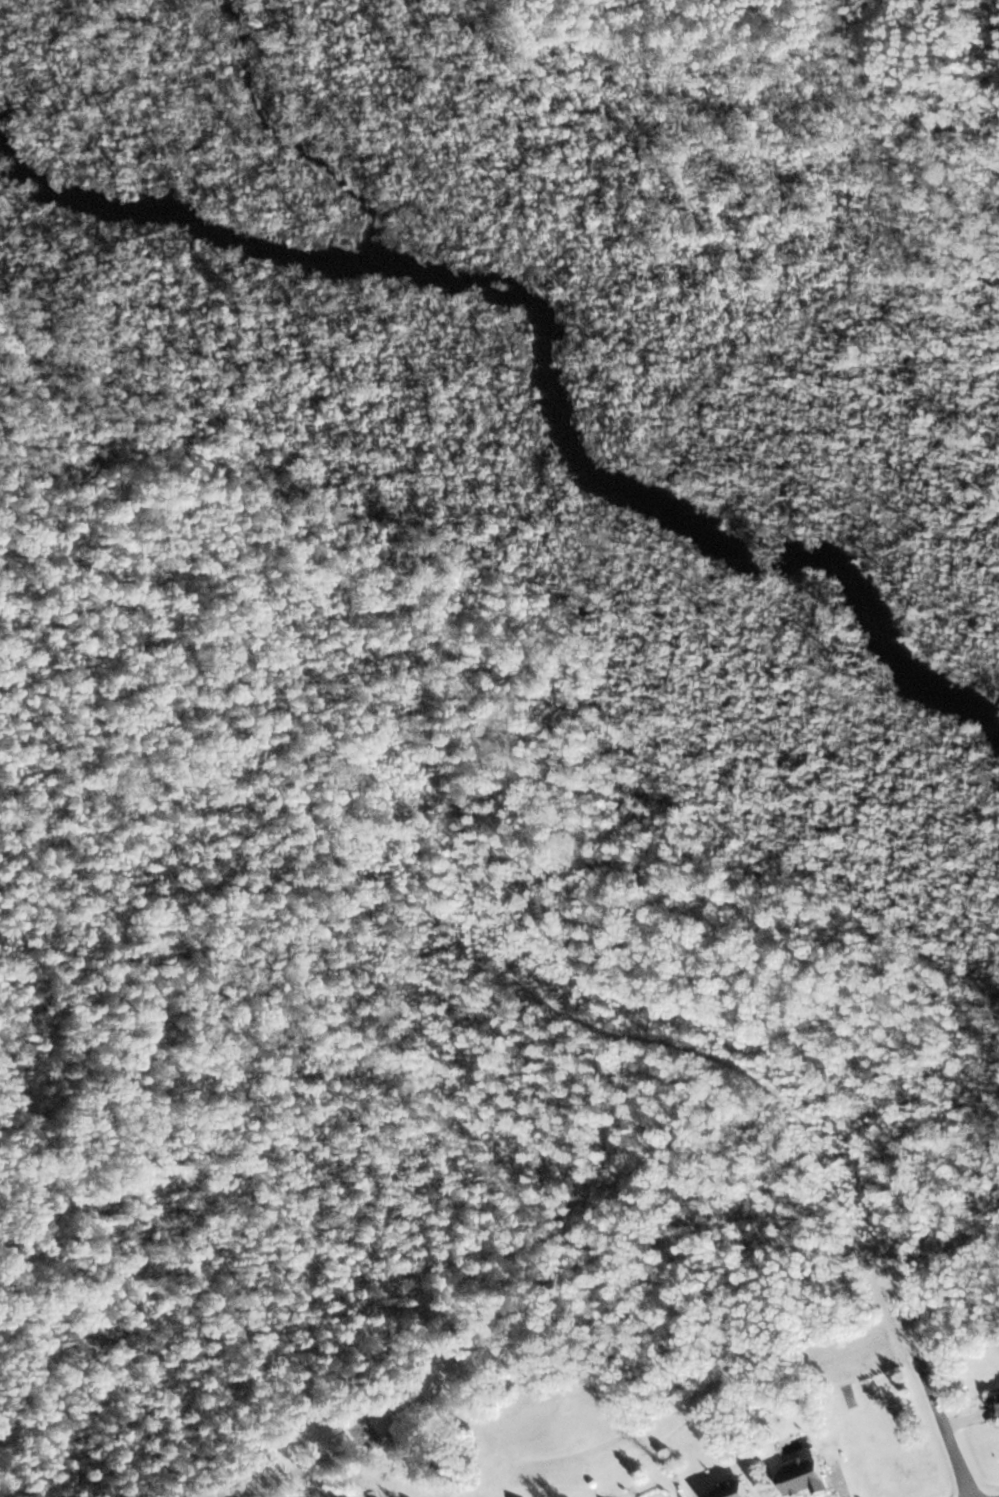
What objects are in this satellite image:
building: (994, 1403)
building: (800, 1475)
building: (726, 1489)

